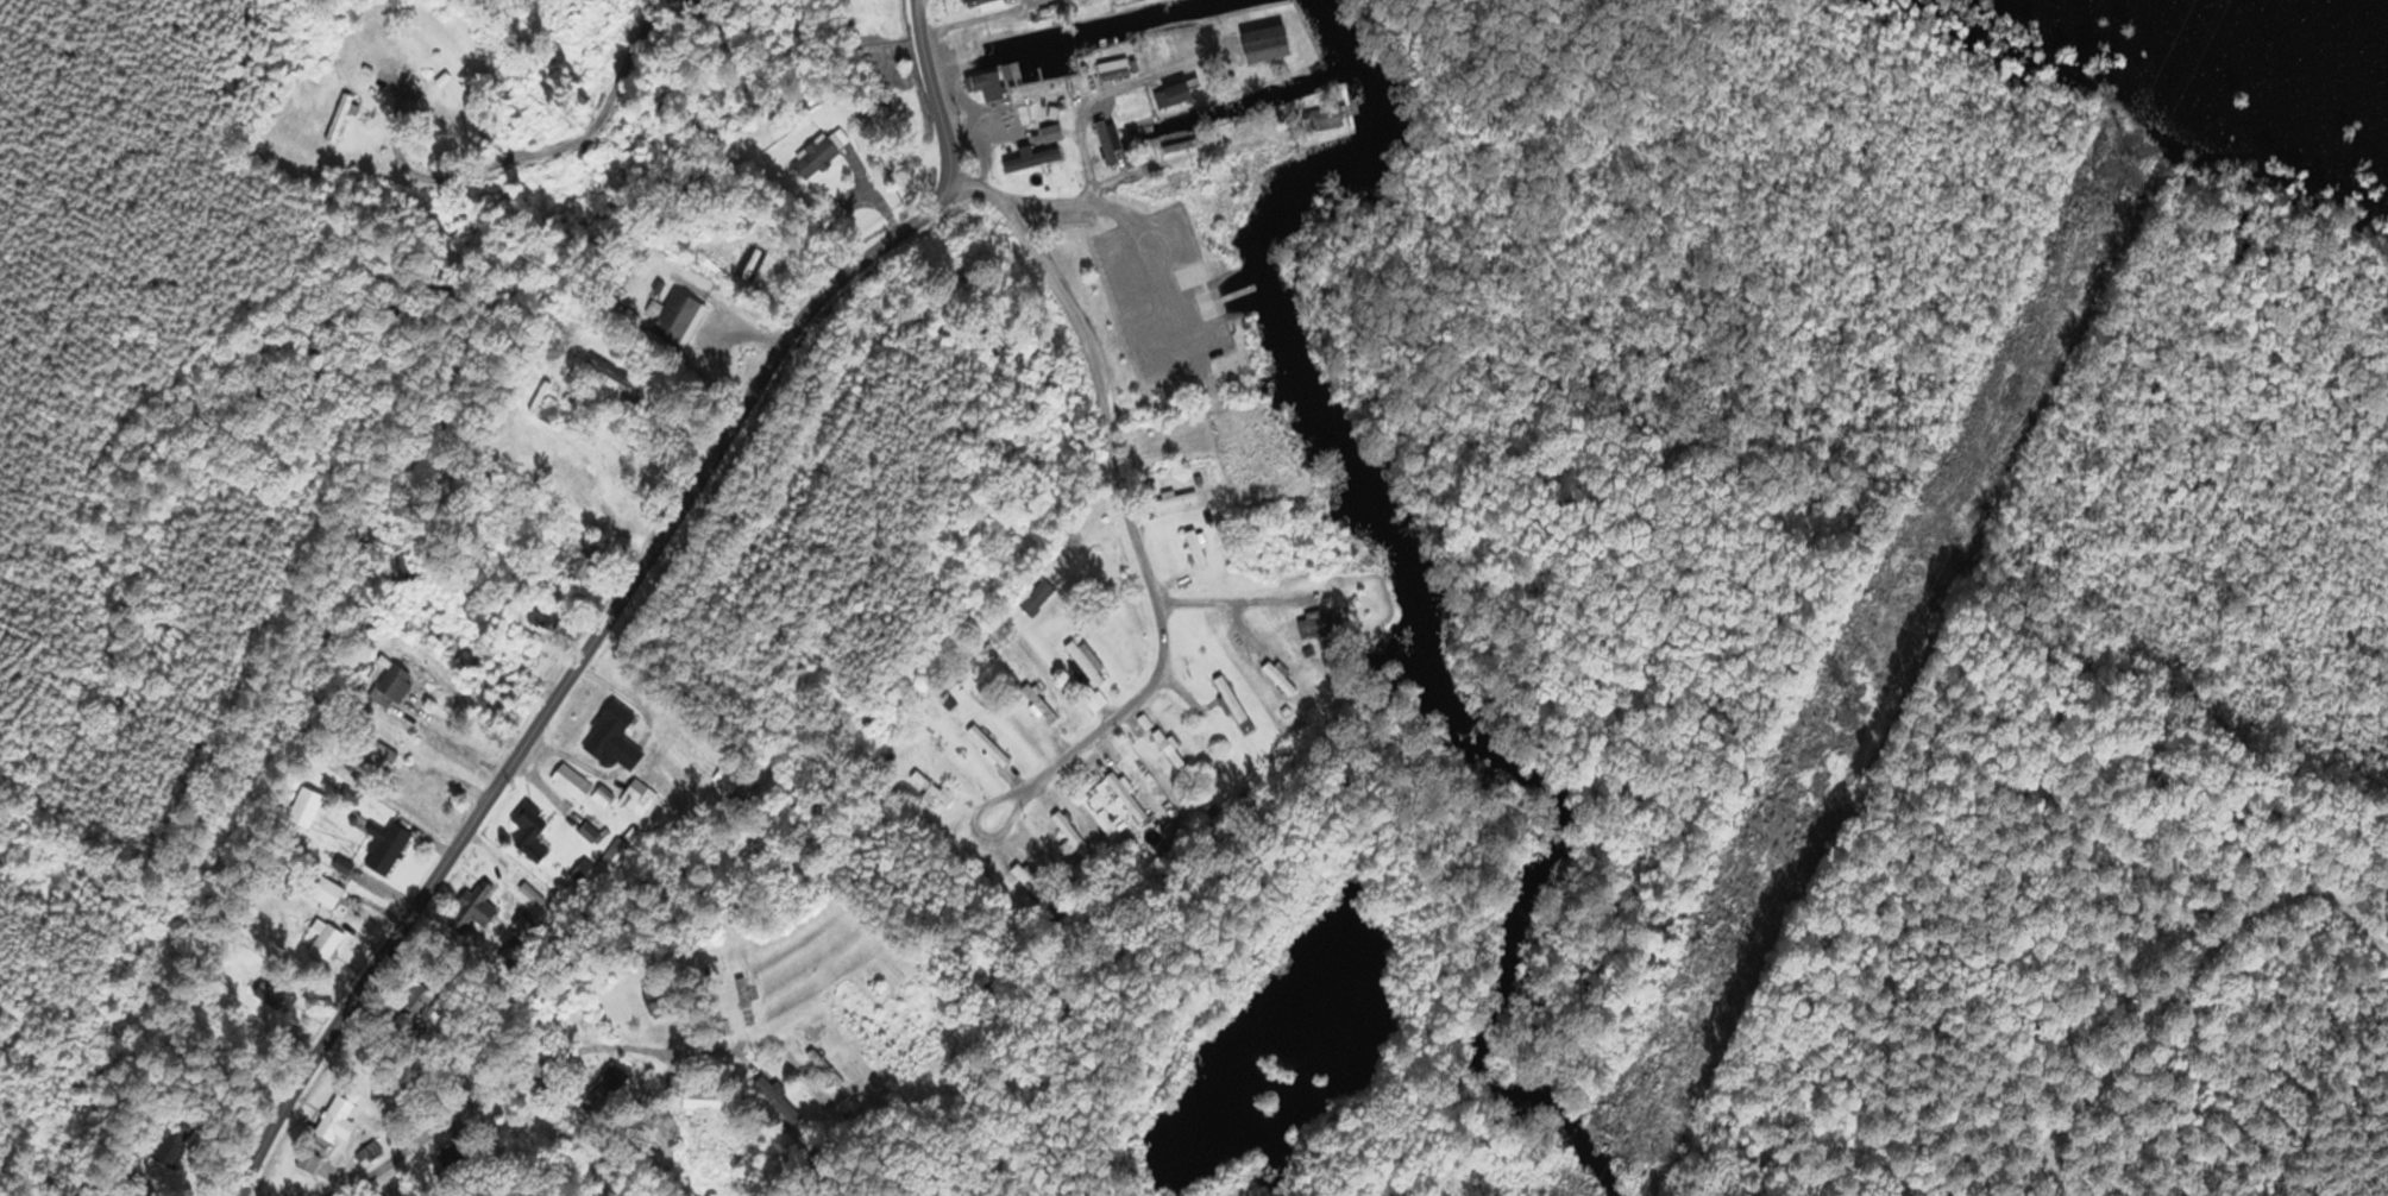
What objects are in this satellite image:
building: (1129, 2)
building: (988, 4)
road: (986, 17)
building: (1268, 45)
building: (406, 50)
road: (1098, 96)
building: (1177, 96)
building: (340, 119)
building: (1326, 120)
building: (1181, 141)
building: (1112, 143)
building: (823, 155)
building: (1035, 159)
power tower: (2119, 164)
building: (836, 215)
road: (1156, 247)
road: (1045, 271)
building: (680, 316)
building: (548, 408)
building: (574, 473)
building: (1177, 499)
building: (1198, 549)
road: (626, 592)
road: (1154, 593)
building: (1037, 597)
road: (1228, 600)
building: (542, 621)
building: (1322, 628)
building: (1089, 674)
building: (1282, 679)
building: (398, 684)
building: (1041, 704)
building: (1233, 705)
power tower: (1871, 716)
building: (616, 738)
building: (988, 747)
building: (1171, 750)
building: (730, 779)
building: (573, 783)
building: (931, 789)
building: (1127, 798)
building: (640, 799)
building: (533, 833)
building: (1070, 838)
building: (391, 848)
building: (614, 857)
building: (1032, 886)
building: (328, 893)
building: (477, 907)
building: (328, 944)
building: (513, 953)
building: (659, 1000)
building: (747, 1005)
building: (825, 1069)
road: (515, 1076)
building: (608, 1088)
building: (783, 1100)
building: (706, 1101)
building: (338, 1122)
building: (671, 1135)
building: (370, 1153)
building: (172, 1154)
building: (453, 1162)

